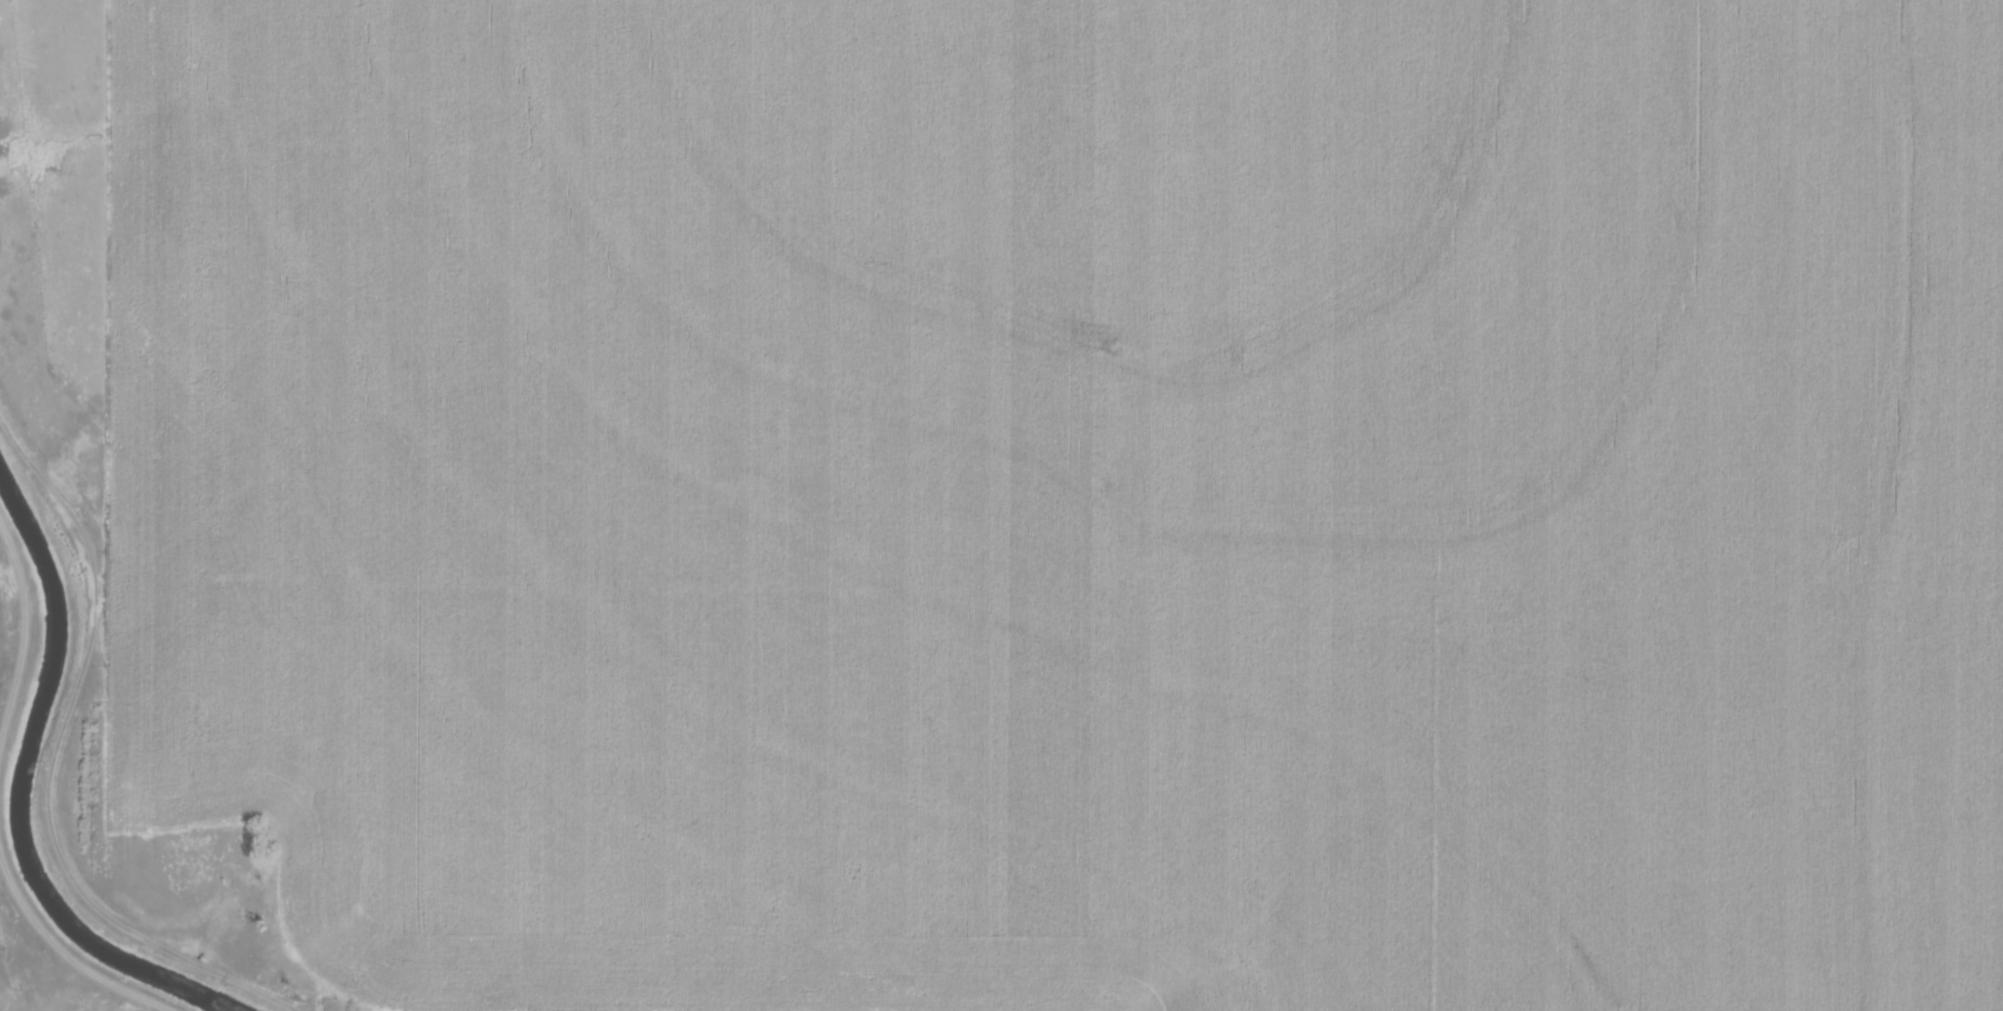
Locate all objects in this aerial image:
road: (25, 629)
road: (68, 954)

